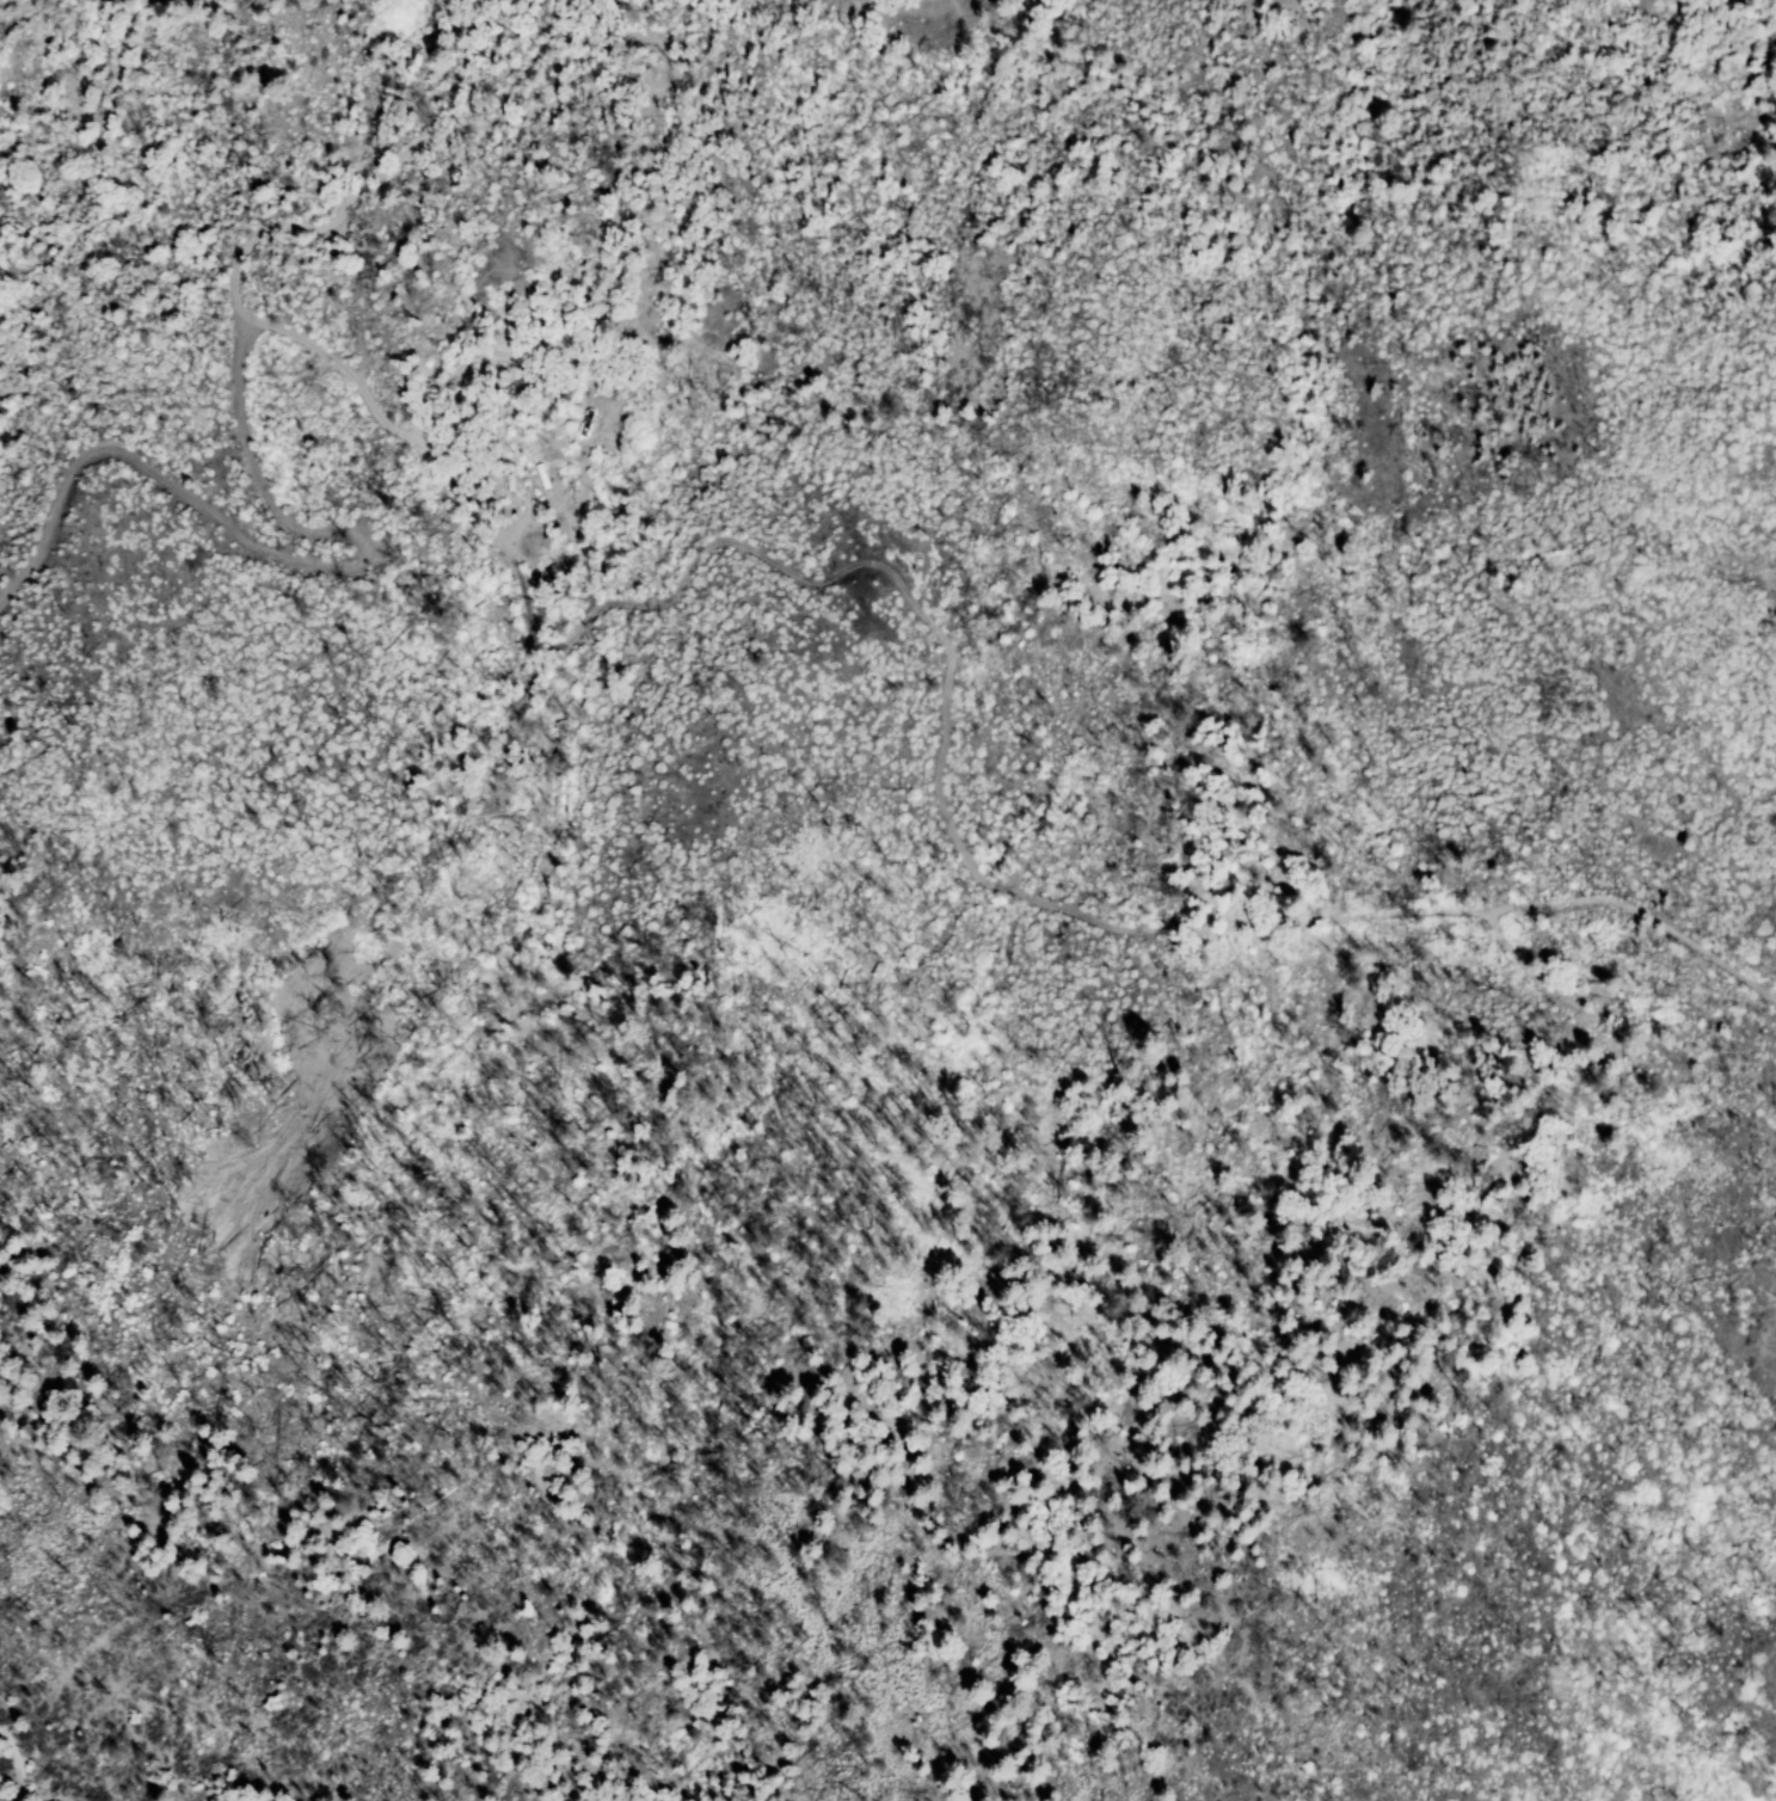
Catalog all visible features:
road: (238, 338)
building: (586, 497)
building: (580, 516)
road: (558, 602)
road: (1253, 936)
road: (16, 1764)

